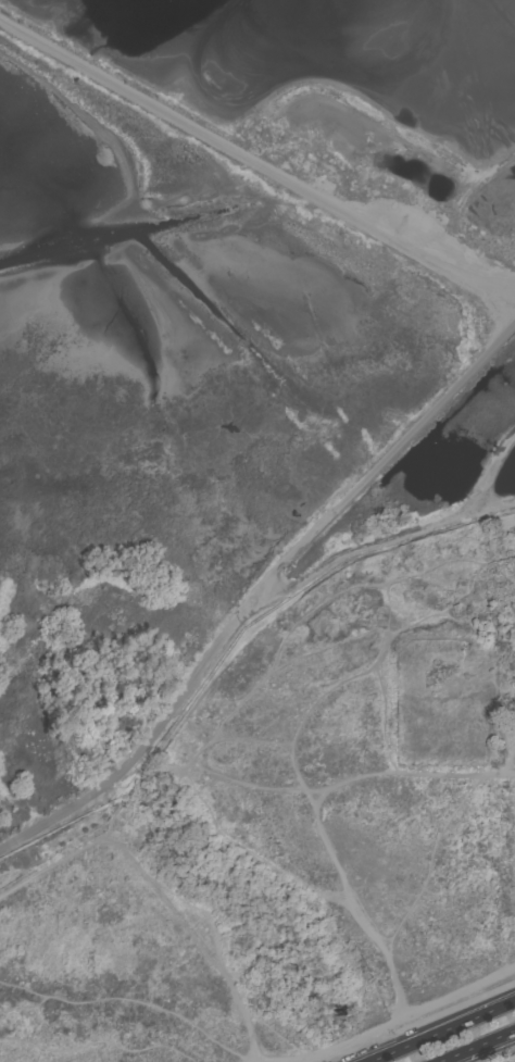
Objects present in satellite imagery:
road: (256, 160)
road: (257, 595)
park: (505, 646)
road: (439, 1030)
road: (477, 1046)

